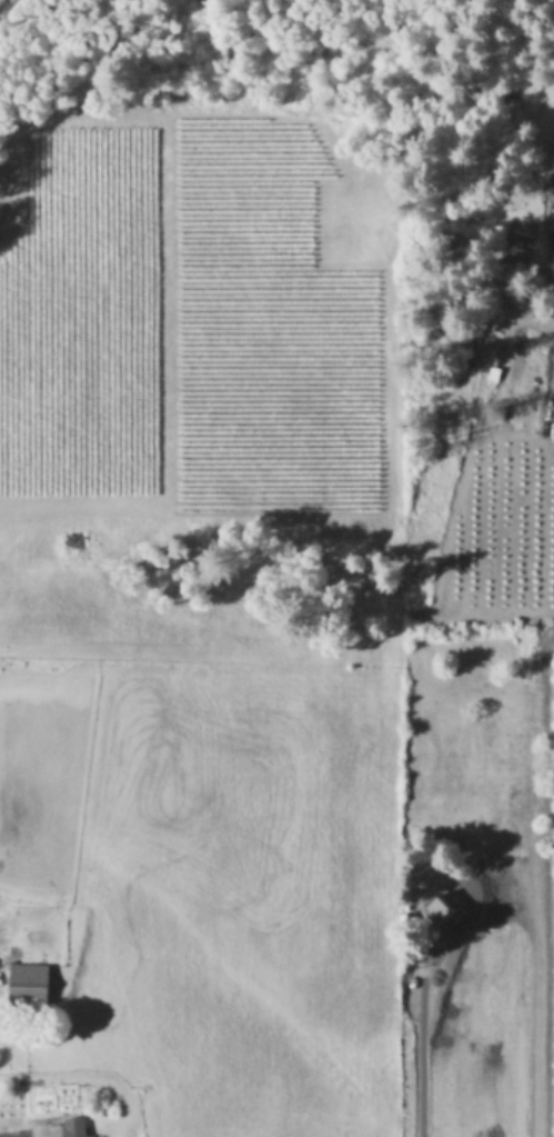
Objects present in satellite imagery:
road: (547, 293)
crop: (266, 625)
building: (439, 912)
building: (23, 980)
road: (423, 1028)

